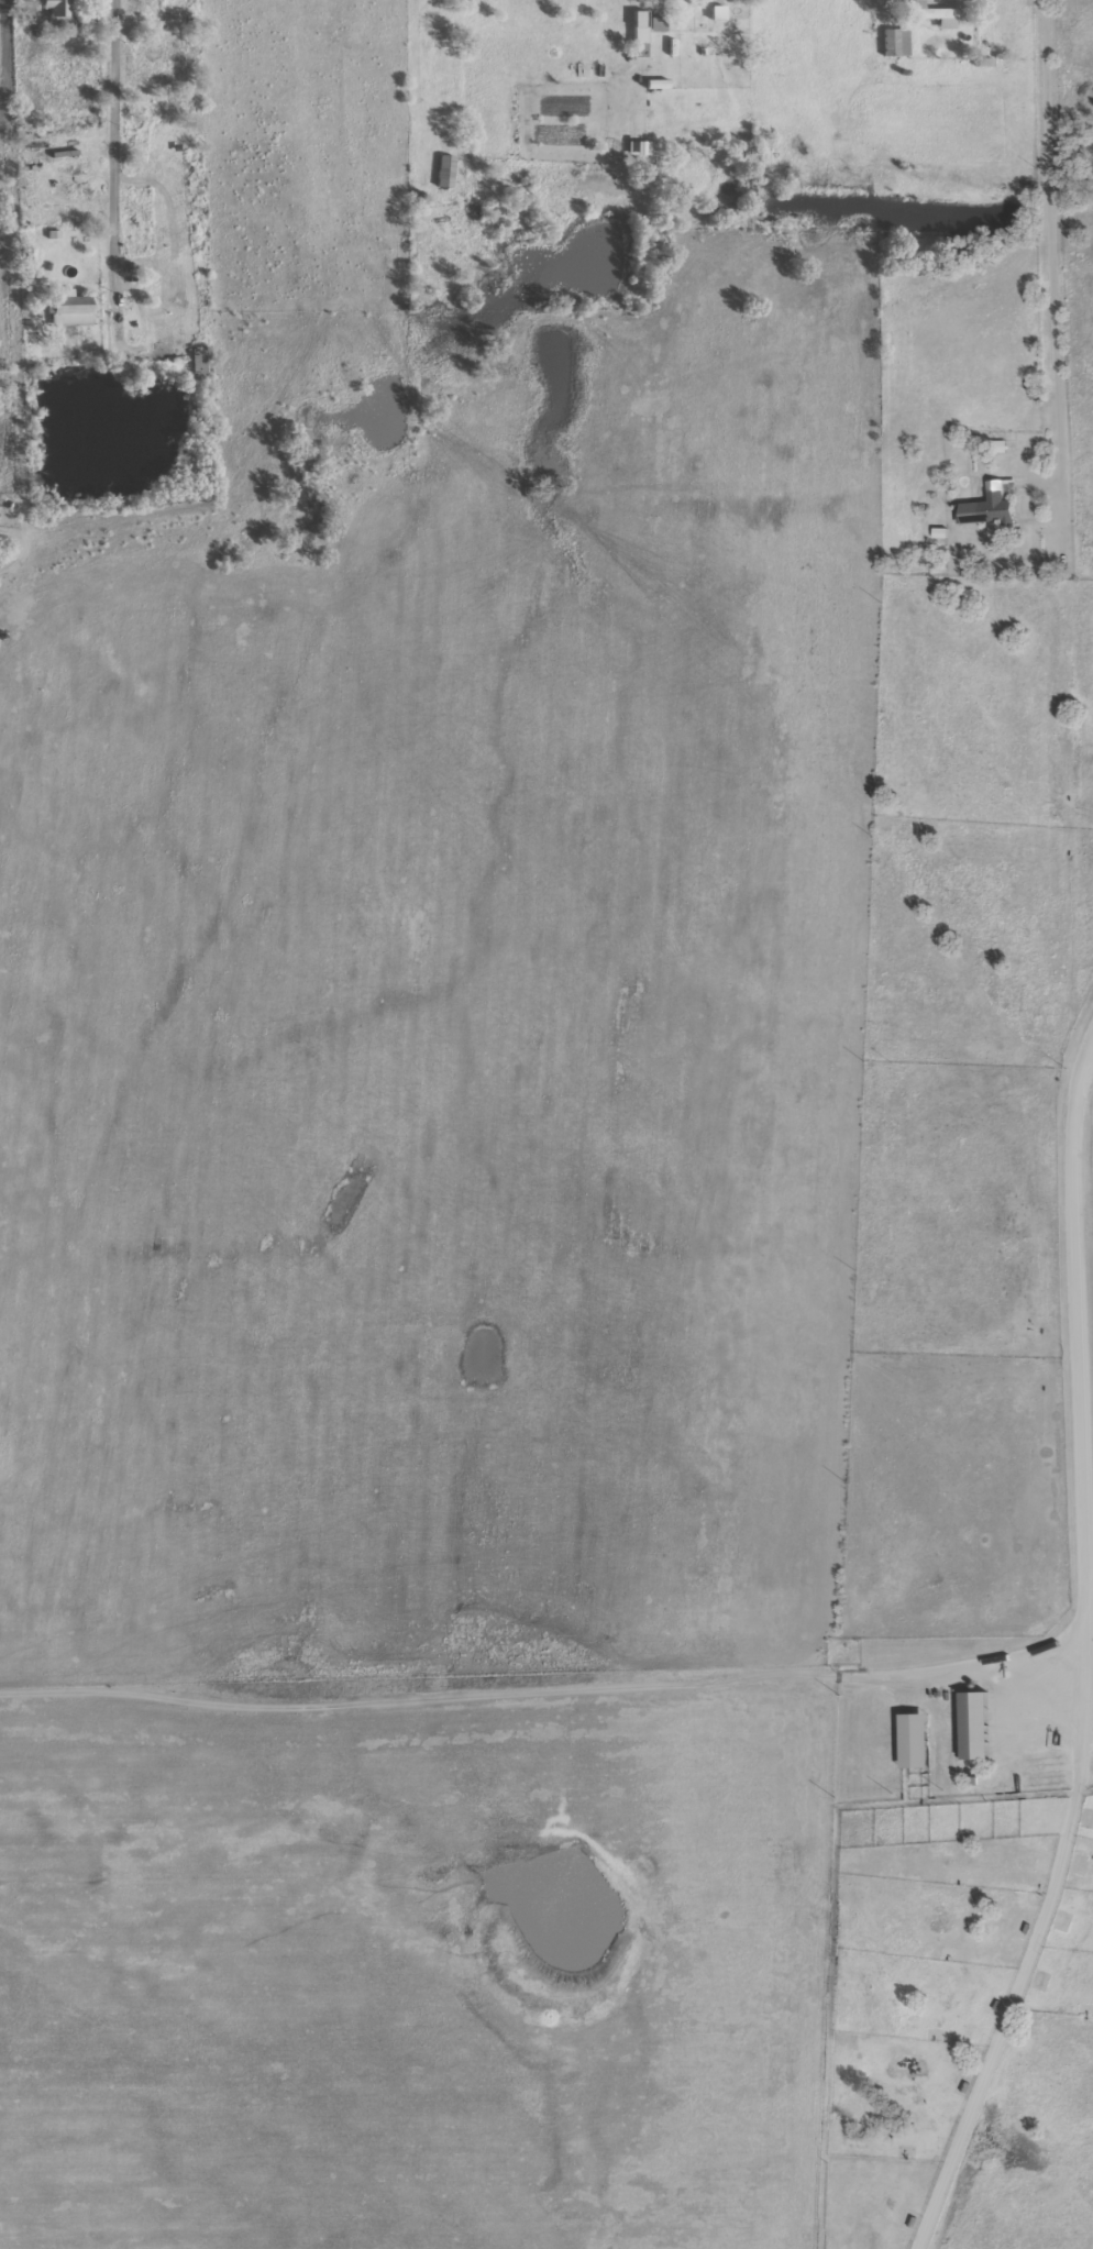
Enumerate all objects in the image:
building: (21, 4)
building: (56, 11)
building: (148, 12)
building: (929, 13)
building: (434, 21)
building: (654, 23)
building: (637, 34)
building: (893, 42)
road: (412, 76)
road: (110, 139)
building: (636, 147)
building: (442, 172)
building: (154, 277)
building: (67, 309)
road: (11, 330)
road: (129, 345)
building: (195, 362)
building: (989, 504)
road: (1056, 542)
road: (1082, 1060)
road: (1080, 1680)
road: (555, 1689)
building: (974, 1724)
building: (914, 1740)
building: (1075, 1863)
building: (1020, 1927)
building: (1037, 1978)
building: (989, 2005)
building: (1083, 2008)

